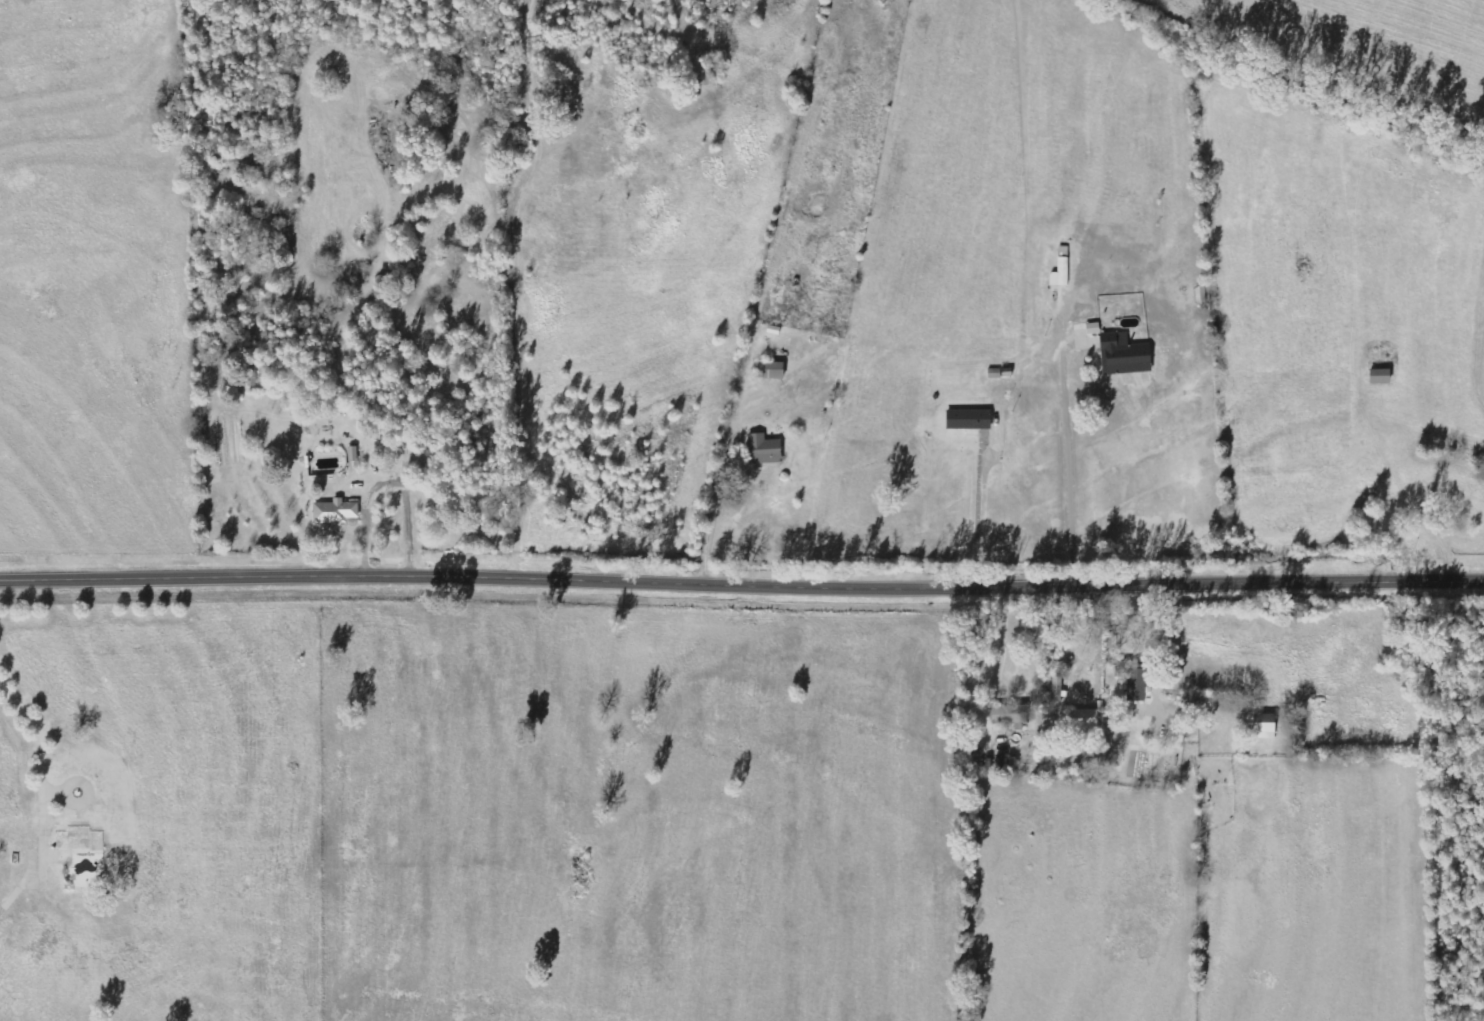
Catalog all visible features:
building: (1121, 356)
building: (774, 370)
building: (1376, 376)
building: (965, 419)
building: (767, 450)
building: (354, 454)
road: (1070, 471)
building: (337, 512)
road: (979, 517)
road: (741, 584)
road: (1006, 639)
building: (1130, 679)
building: (1056, 689)
building: (1007, 715)
building: (1081, 718)
building: (1260, 726)
road: (39, 769)

